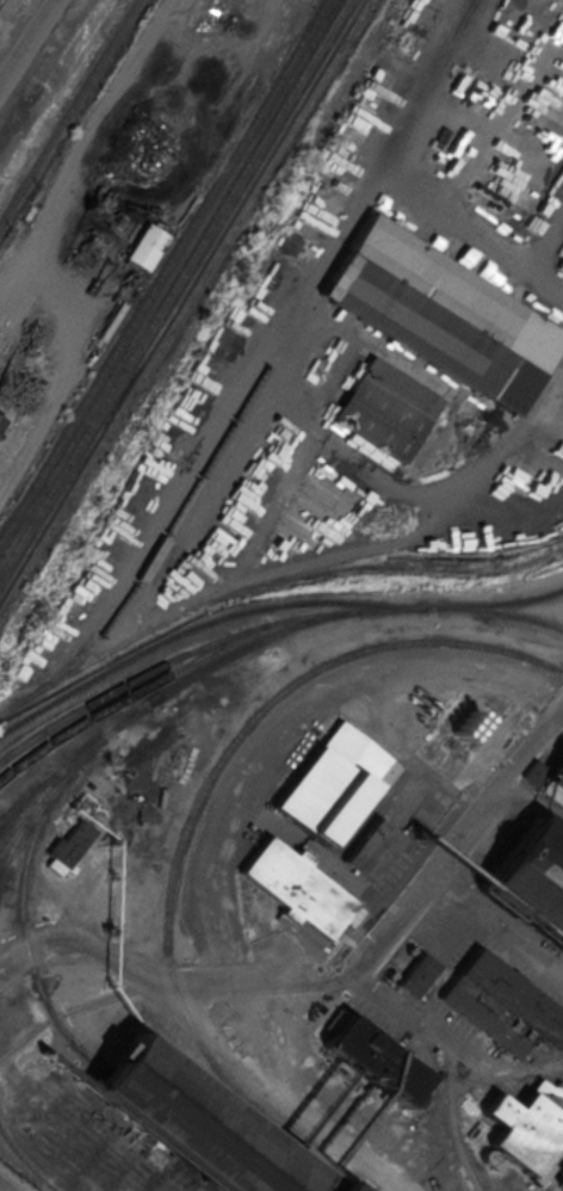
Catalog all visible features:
road: (29, 44)
railway: (67, 110)
building: (357, 122)
building: (147, 246)
railway: (160, 269)
railway: (169, 285)
railway: (177, 296)
railway: (185, 308)
building: (454, 323)
building: (11, 365)
building: (386, 408)
building: (2, 422)
railway: (105, 473)
railway: (154, 551)
railway: (494, 600)
railway: (501, 610)
railway: (199, 623)
railway: (200, 655)
railway: (129, 680)
railway: (166, 686)
building: (330, 782)
railway: (52, 789)
railway: (25, 801)
railway: (1, 814)
railway: (191, 817)
railway: (6, 822)
railway: (18, 835)
building: (371, 851)
railway: (5, 864)
building: (533, 878)
building: (293, 888)
railway: (20, 922)
building: (417, 975)
building: (501, 1005)
building: (371, 1063)
building: (191, 1125)
building: (528, 1128)
railway: (26, 1162)

